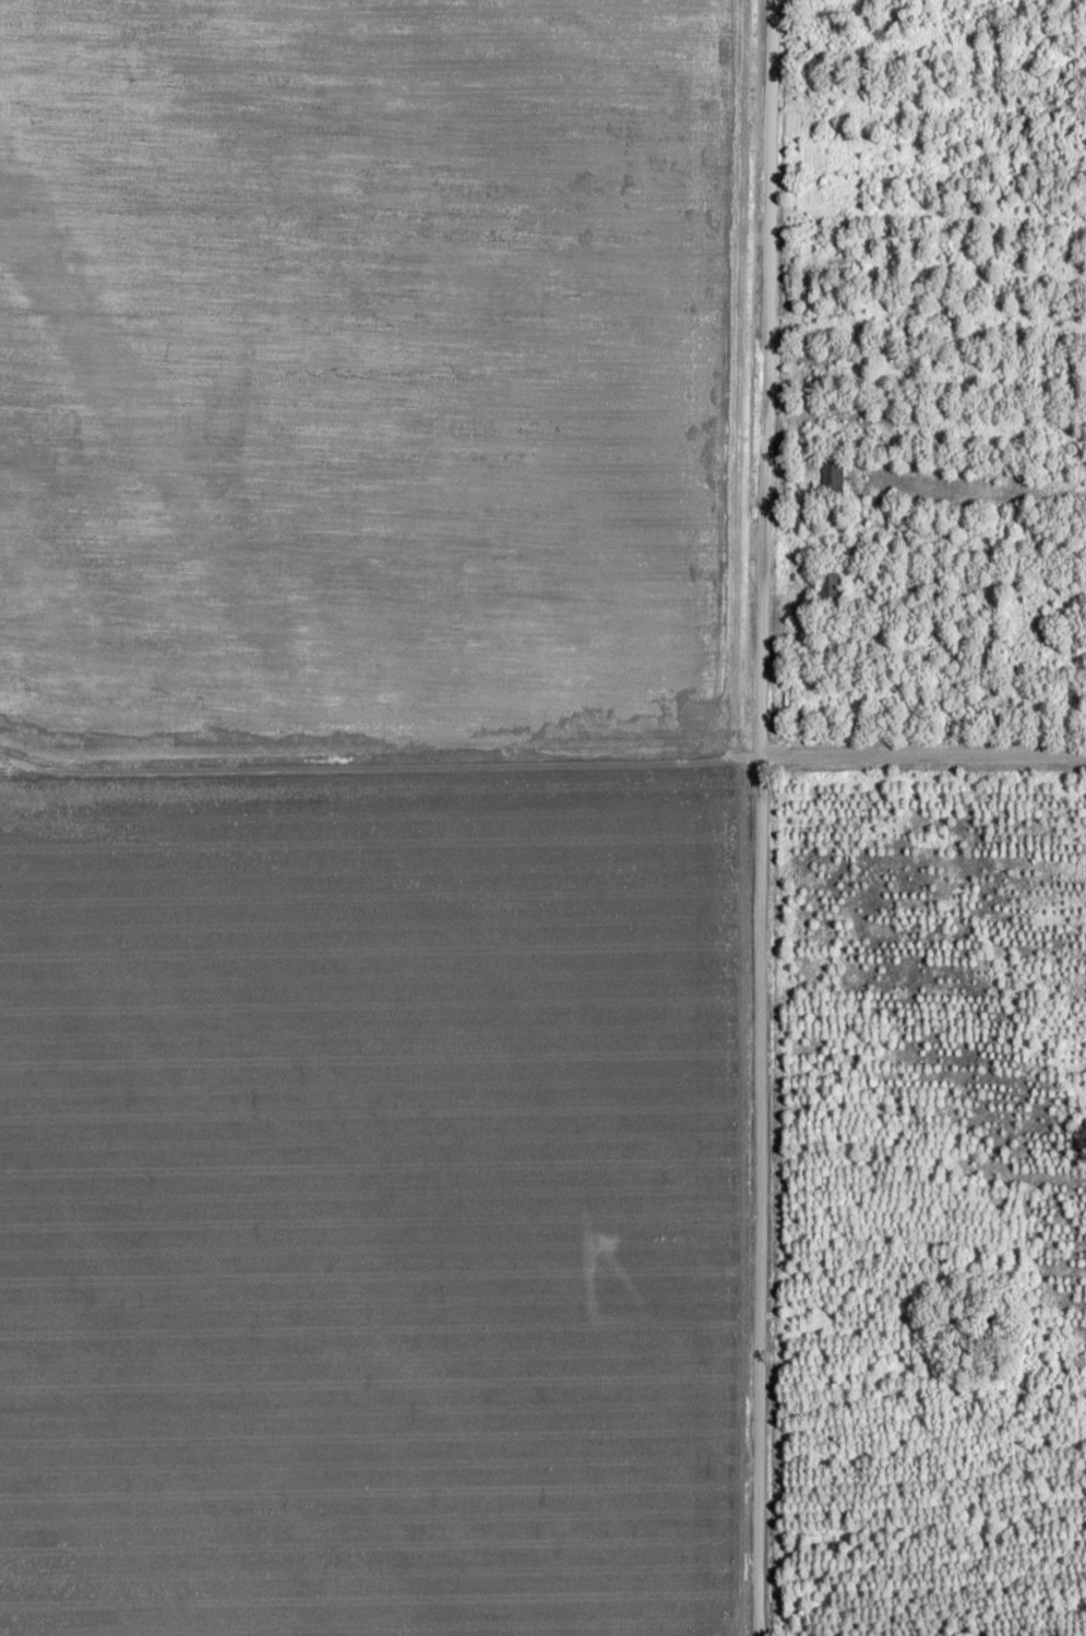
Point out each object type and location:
building: (828, 479)
building: (828, 588)
road: (542, 766)
road: (759, 817)
road: (692, 1209)

